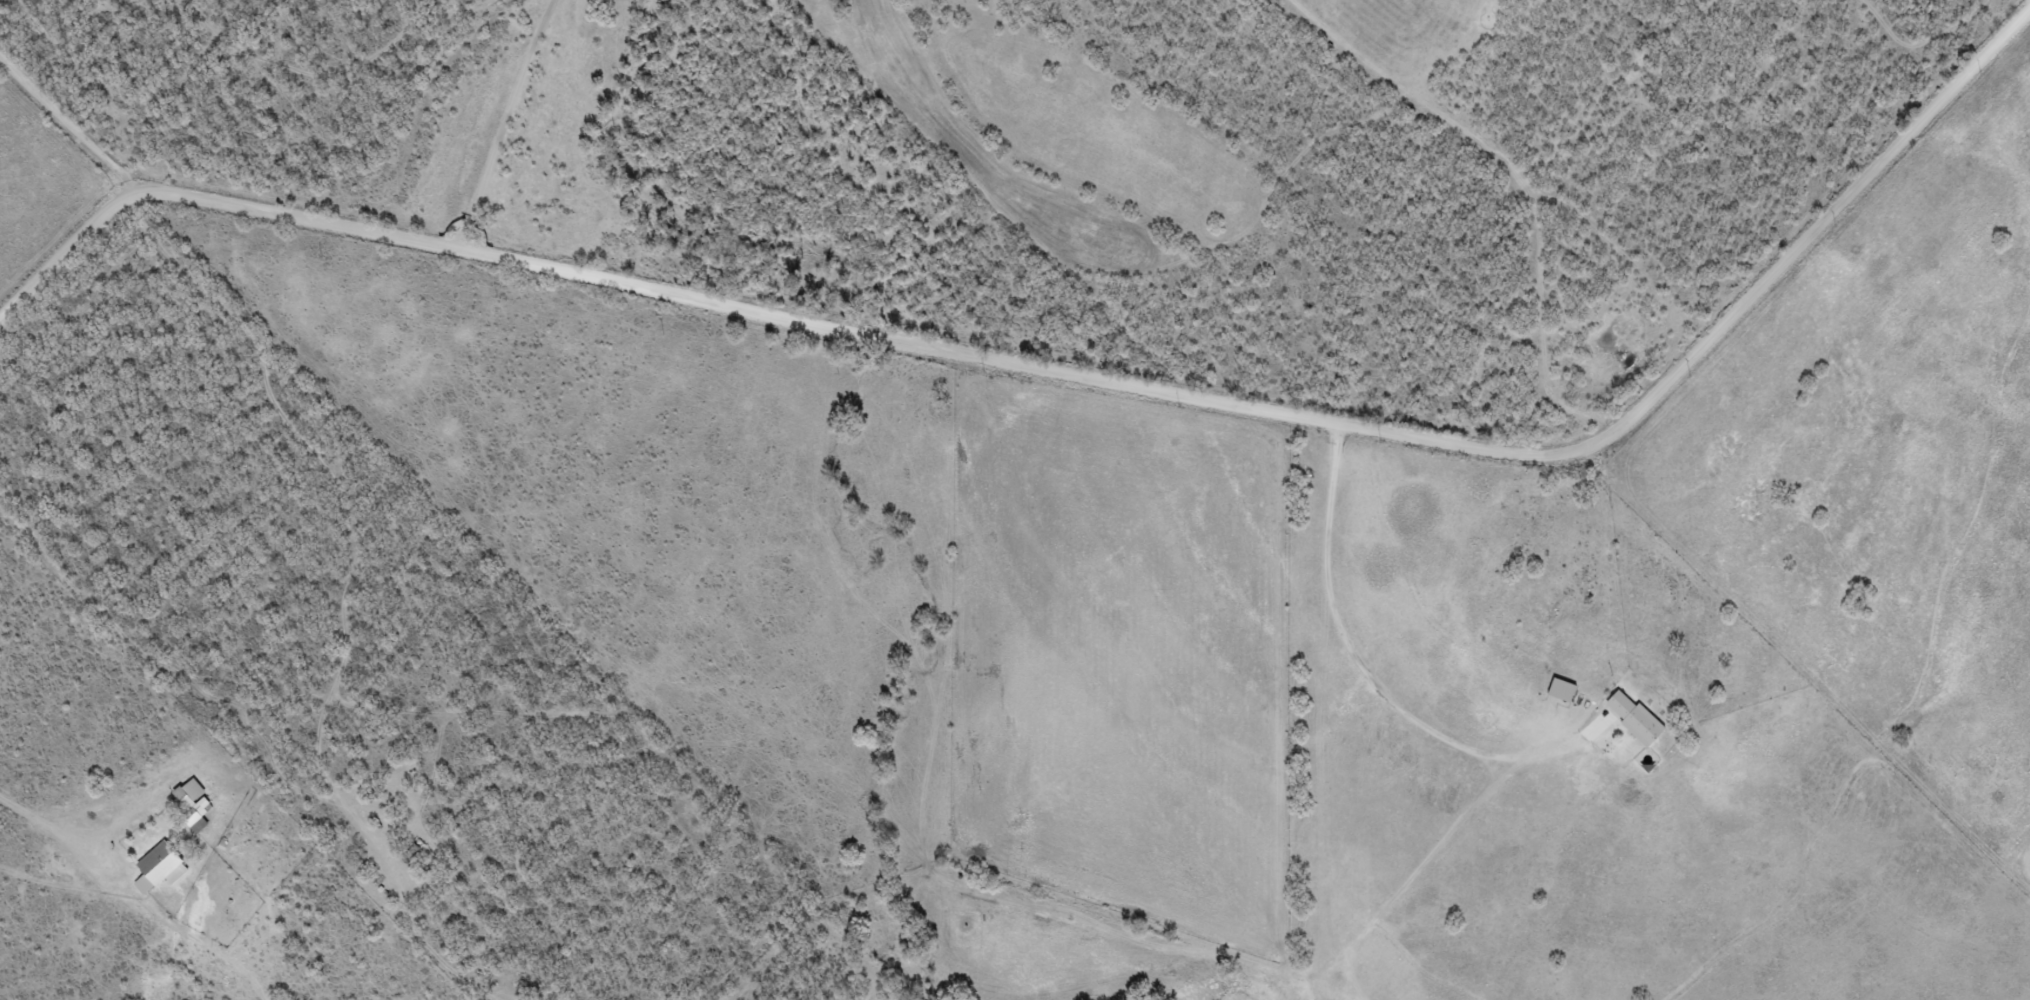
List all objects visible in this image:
road: (1923, 42)
road: (348, 67)
road: (500, 126)
road: (65, 130)
road: (1151, 264)
road: (1654, 327)
road: (1076, 377)
building: (1636, 718)
building: (194, 803)
building: (161, 868)

